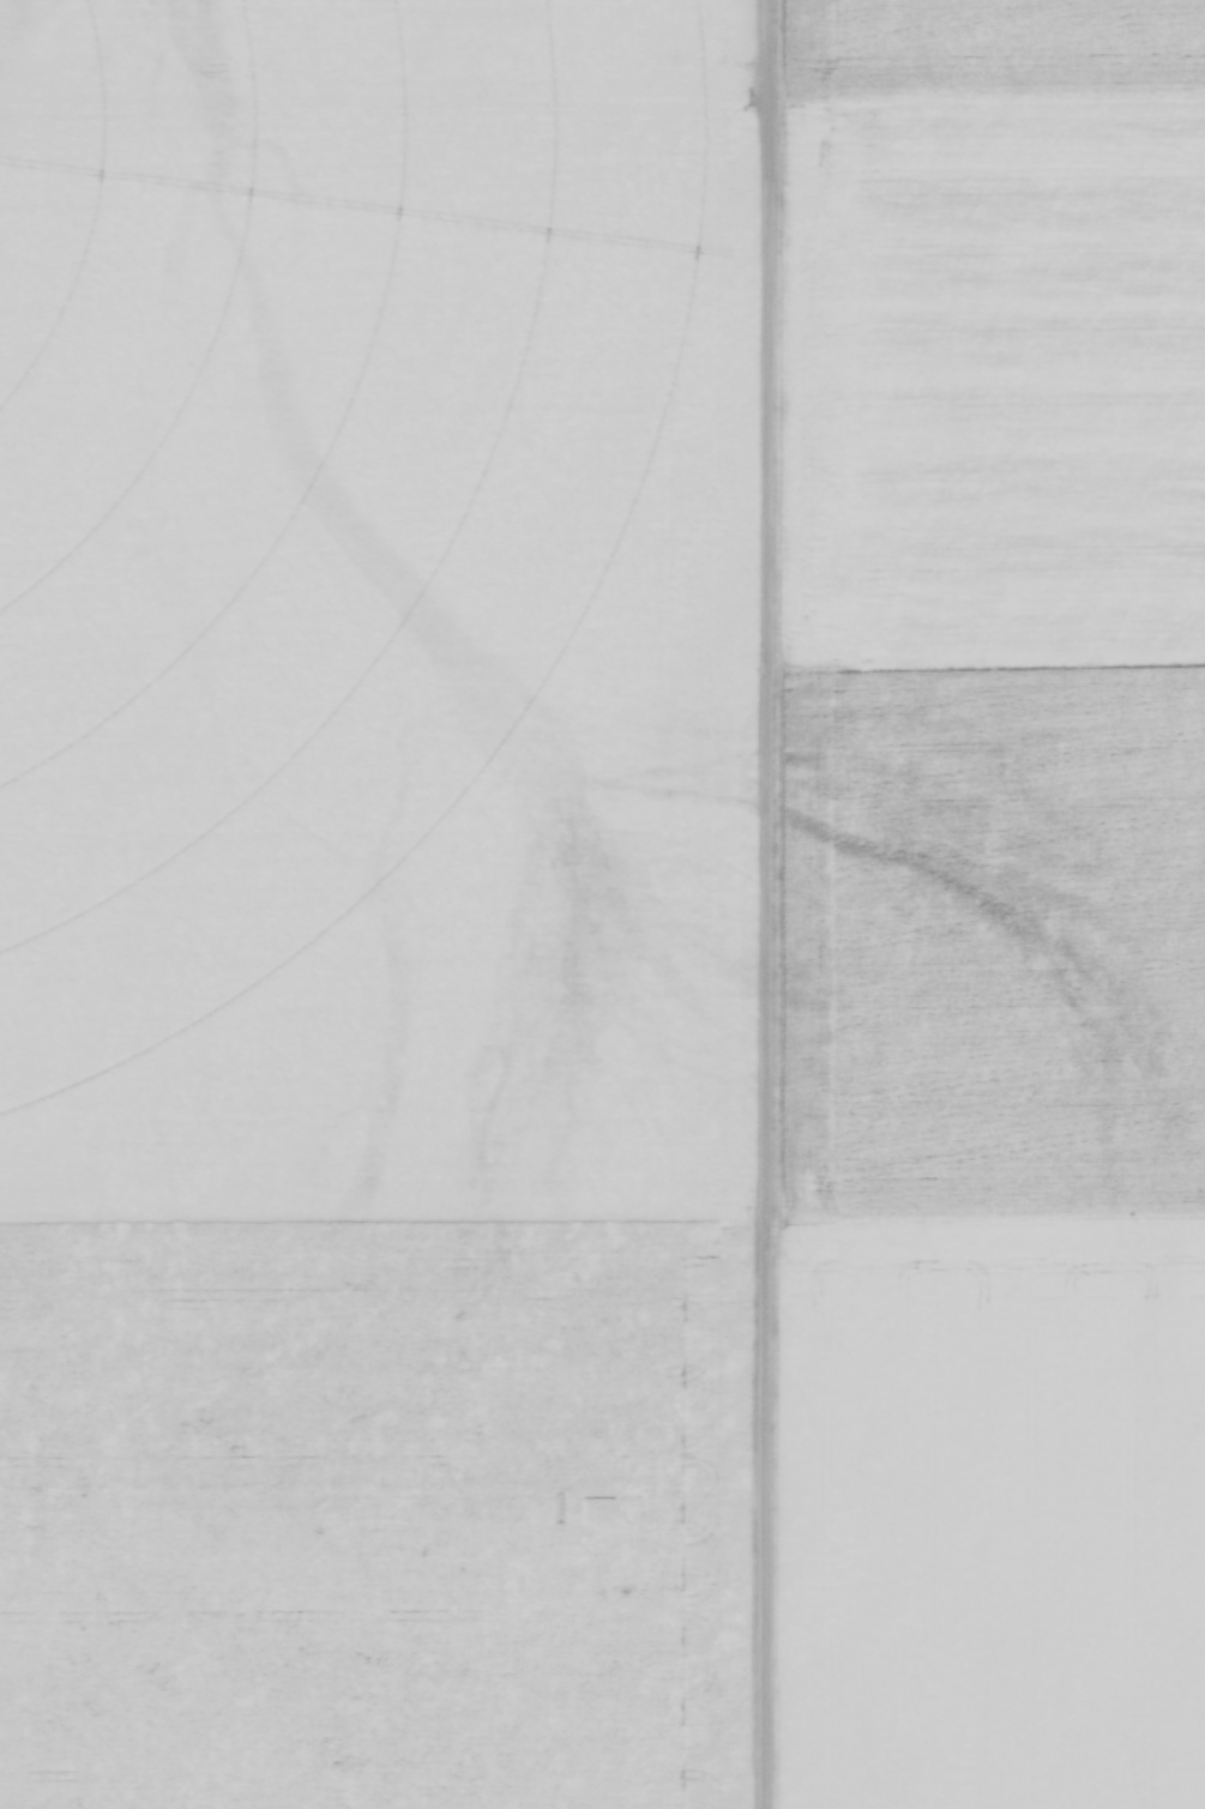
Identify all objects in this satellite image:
road: (773, 904)

